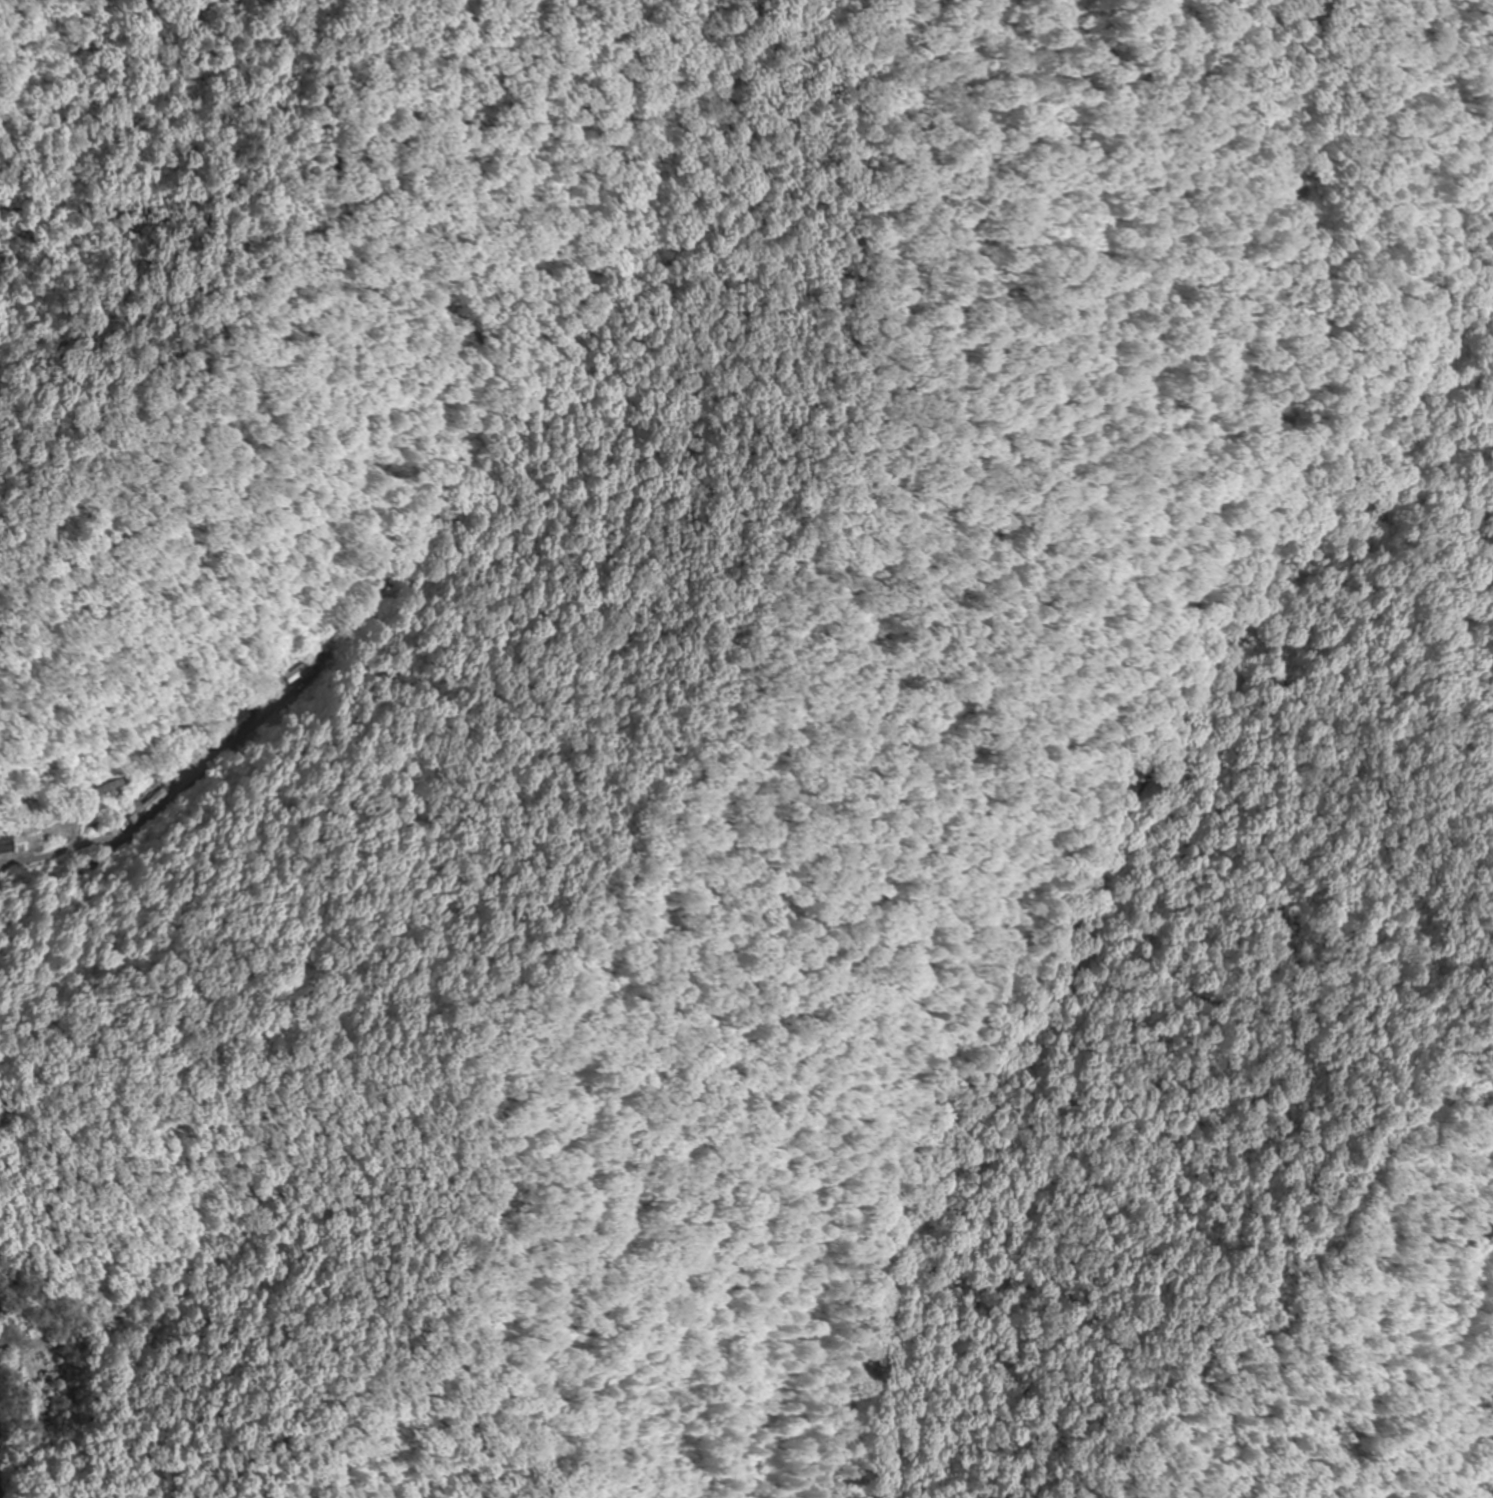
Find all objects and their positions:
building: (296, 668)
building: (235, 720)
building: (144, 805)
road: (322, 822)
building: (12, 844)

